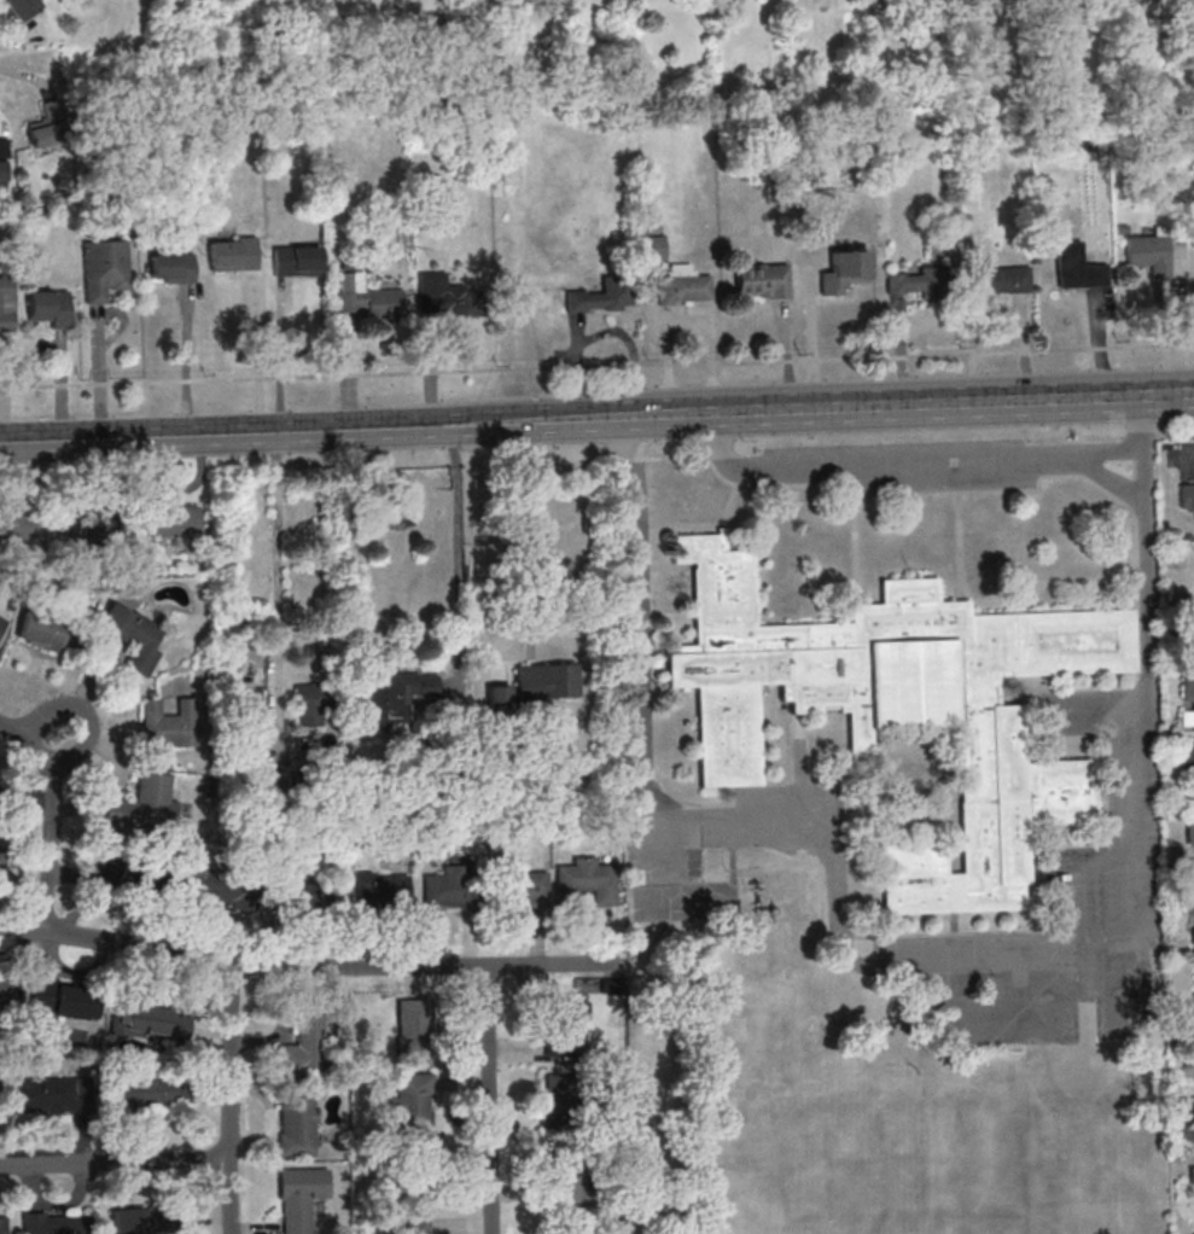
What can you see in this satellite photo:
building: (22, 7)
building: (49, 130)
building: (2, 164)
building: (654, 248)
building: (1148, 252)
building: (232, 255)
building: (295, 262)
building: (171, 268)
building: (1074, 268)
building: (103, 269)
building: (843, 272)
building: (995, 280)
building: (761, 281)
building: (911, 281)
building: (682, 289)
building: (602, 296)
building: (444, 297)
building: (378, 304)
building: (6, 305)
building: (49, 308)
road: (255, 350)
road: (186, 360)
road: (1166, 394)
road: (928, 404)
road: (700, 414)
road: (654, 417)
road: (1140, 418)
road: (547, 420)
road: (460, 424)
road: (226, 433)
road: (1112, 450)
road: (879, 467)
road: (1142, 470)
road: (1113, 479)
building: (1187, 494)
building: (173, 520)
building: (16, 525)
road: (485, 525)
building: (89, 528)
road: (458, 534)
road: (279, 588)
building: (1, 623)
building: (1193, 628)
building: (42, 630)
building: (133, 635)
building: (547, 682)
building: (394, 694)
building: (500, 697)
building: (1187, 703)
building: (311, 705)
building: (899, 708)
building: (246, 709)
road: (83, 716)
building: (168, 722)
building: (1188, 762)
building: (147, 804)
road: (52, 815)
building: (1189, 833)
building: (0, 863)
building: (123, 874)
building: (583, 883)
building: (211, 885)
building: (449, 886)
building: (528, 887)
building: (379, 891)
building: (301, 892)
building: (1188, 903)
road: (856, 962)
road: (307, 965)
building: (5, 993)
building: (64, 1000)
building: (142, 1019)
building: (561, 1028)
building: (413, 1029)
building: (1188, 1042)
building: (303, 1046)
building: (142, 1094)
building: (48, 1095)
road: (231, 1095)
road: (488, 1098)
building: (561, 1098)
building: (410, 1100)
building: (1188, 1110)
building: (295, 1119)
road: (115, 1164)
building: (412, 1174)
building: (1189, 1176)
building: (566, 1177)
building: (298, 1197)
building: (145, 1221)
building: (52, 1223)
building: (1, 1226)
building: (415, 1226)
building: (566, 1227)

